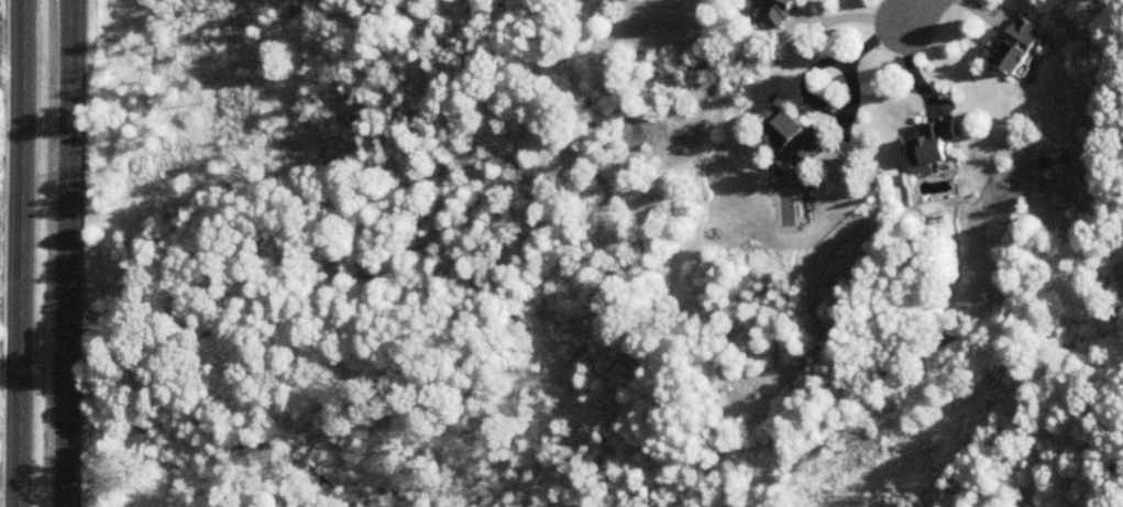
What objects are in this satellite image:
building: (779, 13)
road: (924, 13)
building: (1021, 49)
road: (847, 57)
building: (799, 139)
building: (934, 150)
road: (23, 253)
road: (68, 253)

